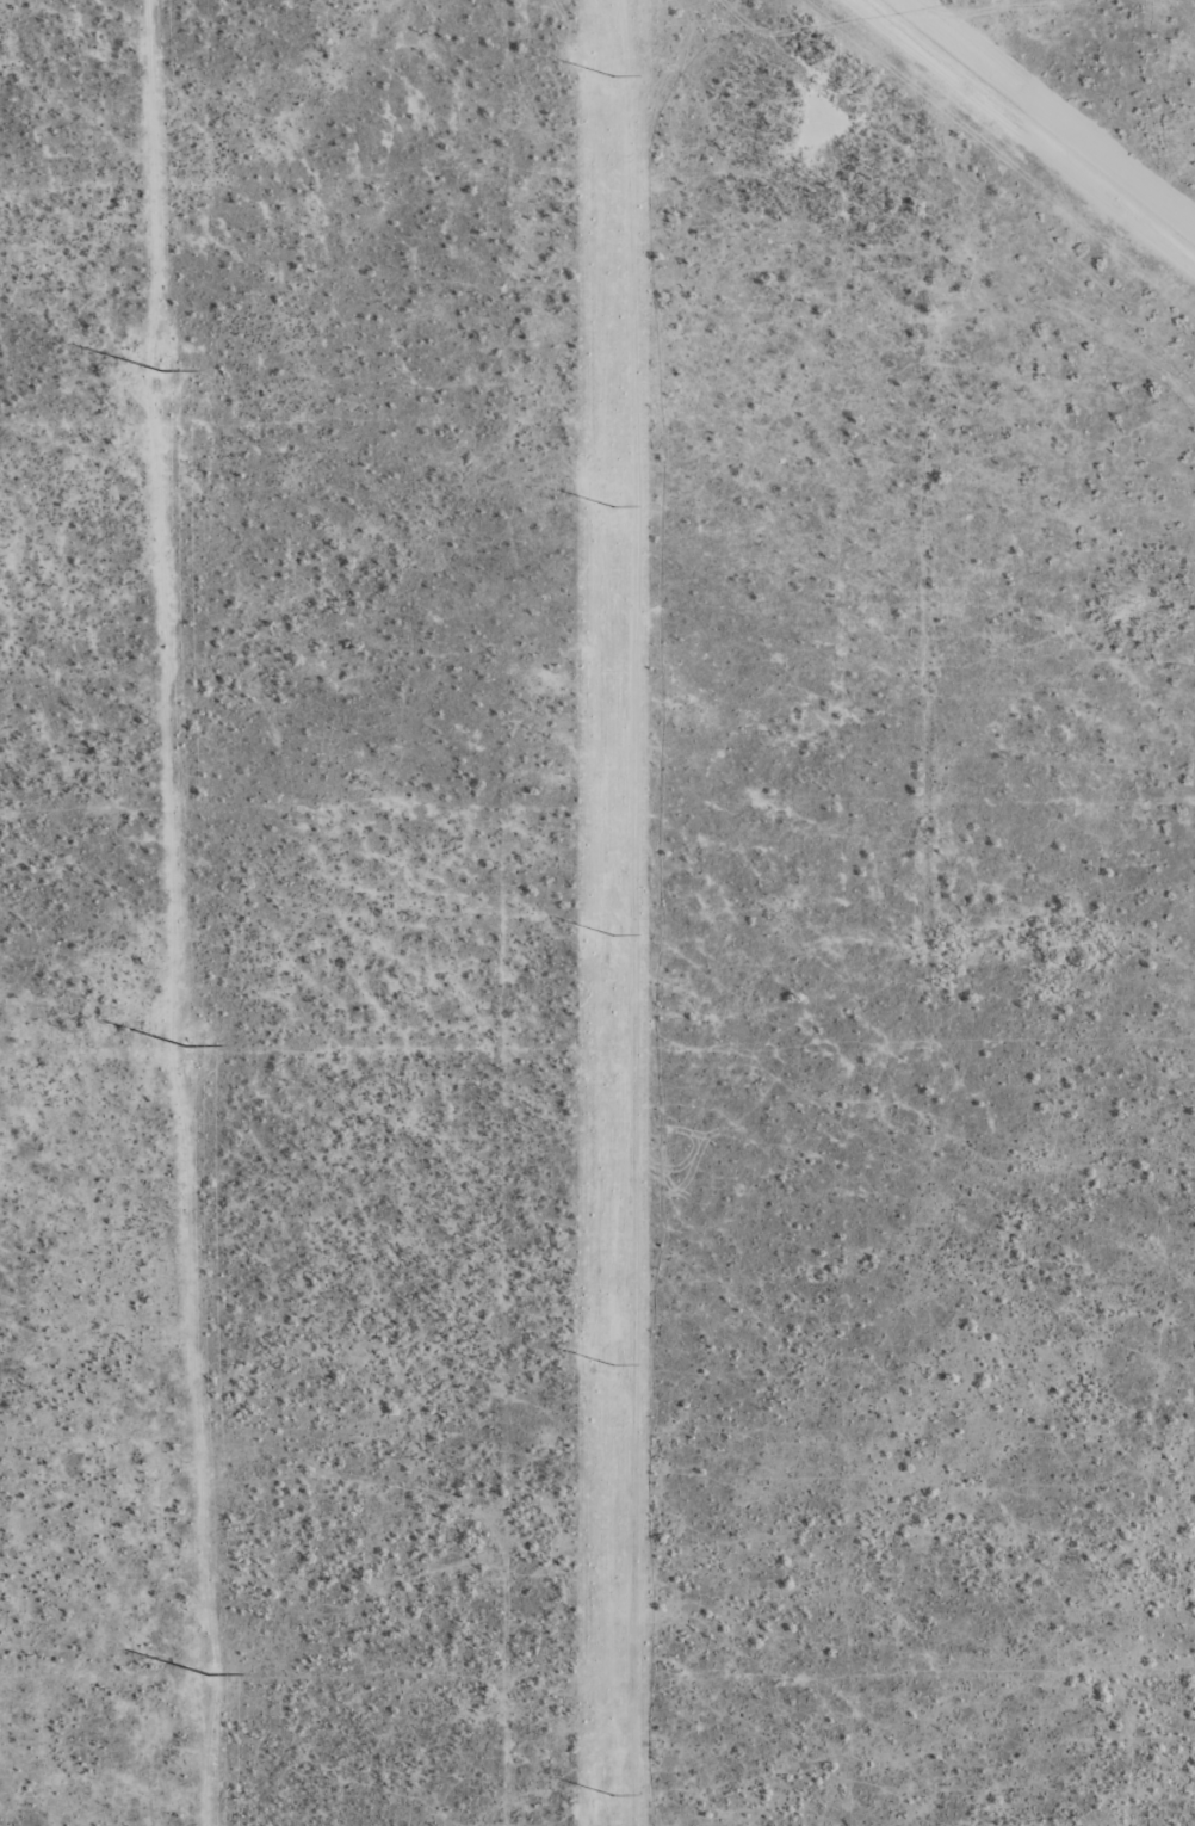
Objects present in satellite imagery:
power tower: (613, 68)
power tower: (613, 499)
power tower: (613, 925)
road: (945, 971)
power tower: (612, 1356)
power tower: (612, 1785)

